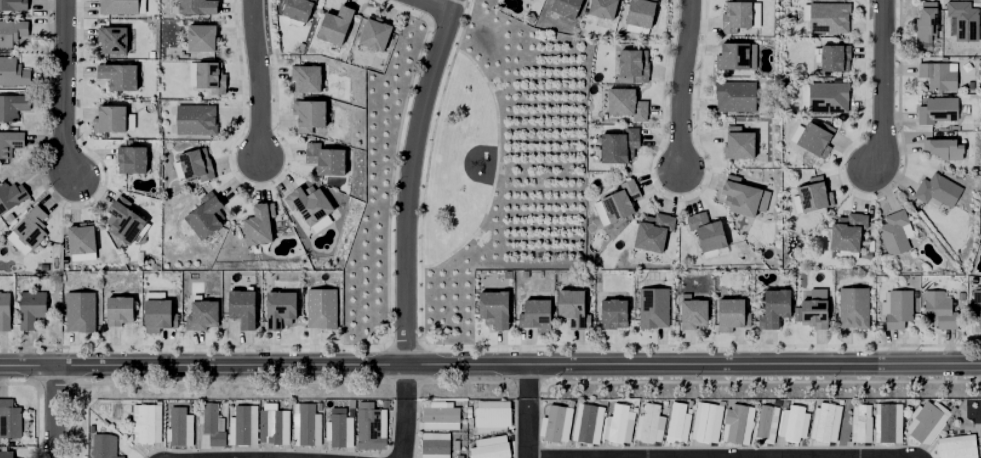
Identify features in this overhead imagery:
building: (529, 0)
building: (15, 5)
building: (118, 7)
building: (197, 7)
road: (430, 7)
building: (566, 8)
building: (298, 9)
building: (602, 9)
road: (432, 10)
building: (640, 13)
building: (735, 18)
building: (828, 18)
building: (957, 20)
building: (921, 22)
building: (335, 26)
building: (13, 32)
building: (375, 34)
building: (202, 39)
building: (112, 40)
building: (149, 54)
building: (733, 58)
building: (835, 59)
building: (633, 65)
building: (14, 73)
building: (934, 74)
building: (118, 77)
building: (210, 77)
building: (304, 77)
road: (256, 80)
road: (881, 86)
road: (680, 87)
road: (65, 91)
building: (735, 96)
building: (827, 97)
building: (626, 103)
building: (14, 106)
building: (933, 109)
building: (309, 113)
building: (109, 118)
building: (195, 119)
building: (816, 138)
building: (12, 140)
building: (739, 141)
building: (938, 143)
building: (618, 145)
building: (131, 158)
building: (325, 158)
park: (457, 162)
building: (196, 163)
road: (494, 168)
road: (426, 169)
road: (390, 180)
road: (408, 180)
building: (935, 187)
building: (12, 192)
building: (815, 194)
building: (744, 196)
building: (621, 200)
building: (309, 202)
building: (599, 214)
building: (206, 215)
building: (124, 219)
building: (258, 224)
building: (34, 226)
building: (706, 230)
building: (653, 231)
building: (848, 231)
building: (891, 231)
building: (81, 237)
building: (974, 298)
building: (35, 305)
building: (894, 305)
building: (243, 307)
building: (853, 307)
building: (934, 307)
building: (6, 308)
building: (280, 308)
building: (322, 308)
building: (494, 308)
building: (573, 308)
building: (653, 308)
building: (774, 308)
building: (119, 309)
building: (80, 311)
building: (613, 313)
building: (692, 313)
building: (814, 313)
building: (535, 314)
building: (731, 314)
building: (158, 315)
building: (202, 315)
road: (403, 345)
road: (490, 368)
road: (525, 384)
road: (402, 412)
building: (7, 415)
road: (57, 416)
building: (488, 416)
building: (438, 417)
building: (820, 419)
building: (855, 419)
building: (883, 419)
building: (922, 419)
building: (733, 420)
building: (761, 420)
building: (787, 420)
building: (368, 423)
building: (701, 423)
building: (143, 424)
building: (209, 425)
building: (272, 425)
building: (553, 425)
building: (585, 425)
building: (616, 425)
building: (676, 425)
building: (304, 426)
building: (647, 426)
building: (241, 427)
building: (177, 428)
road: (525, 428)
building: (337, 431)
building: (953, 445)
building: (433, 446)
building: (100, 447)
building: (488, 448)
building: (6, 454)

